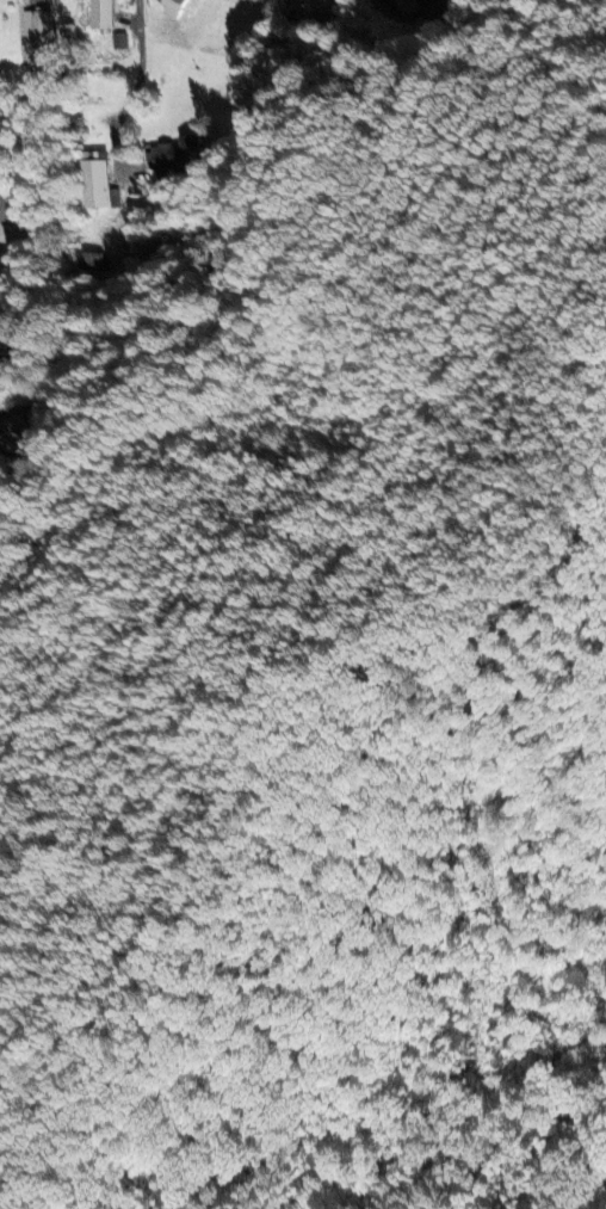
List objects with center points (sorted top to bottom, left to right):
building: (333, 0)
building: (410, 4)
building: (168, 6)
building: (314, 8)
building: (98, 14)
building: (67, 32)
building: (35, 37)
road: (137, 57)
building: (172, 158)
building: (94, 185)
building: (1, 205)
building: (0, 338)
building: (8, 428)

